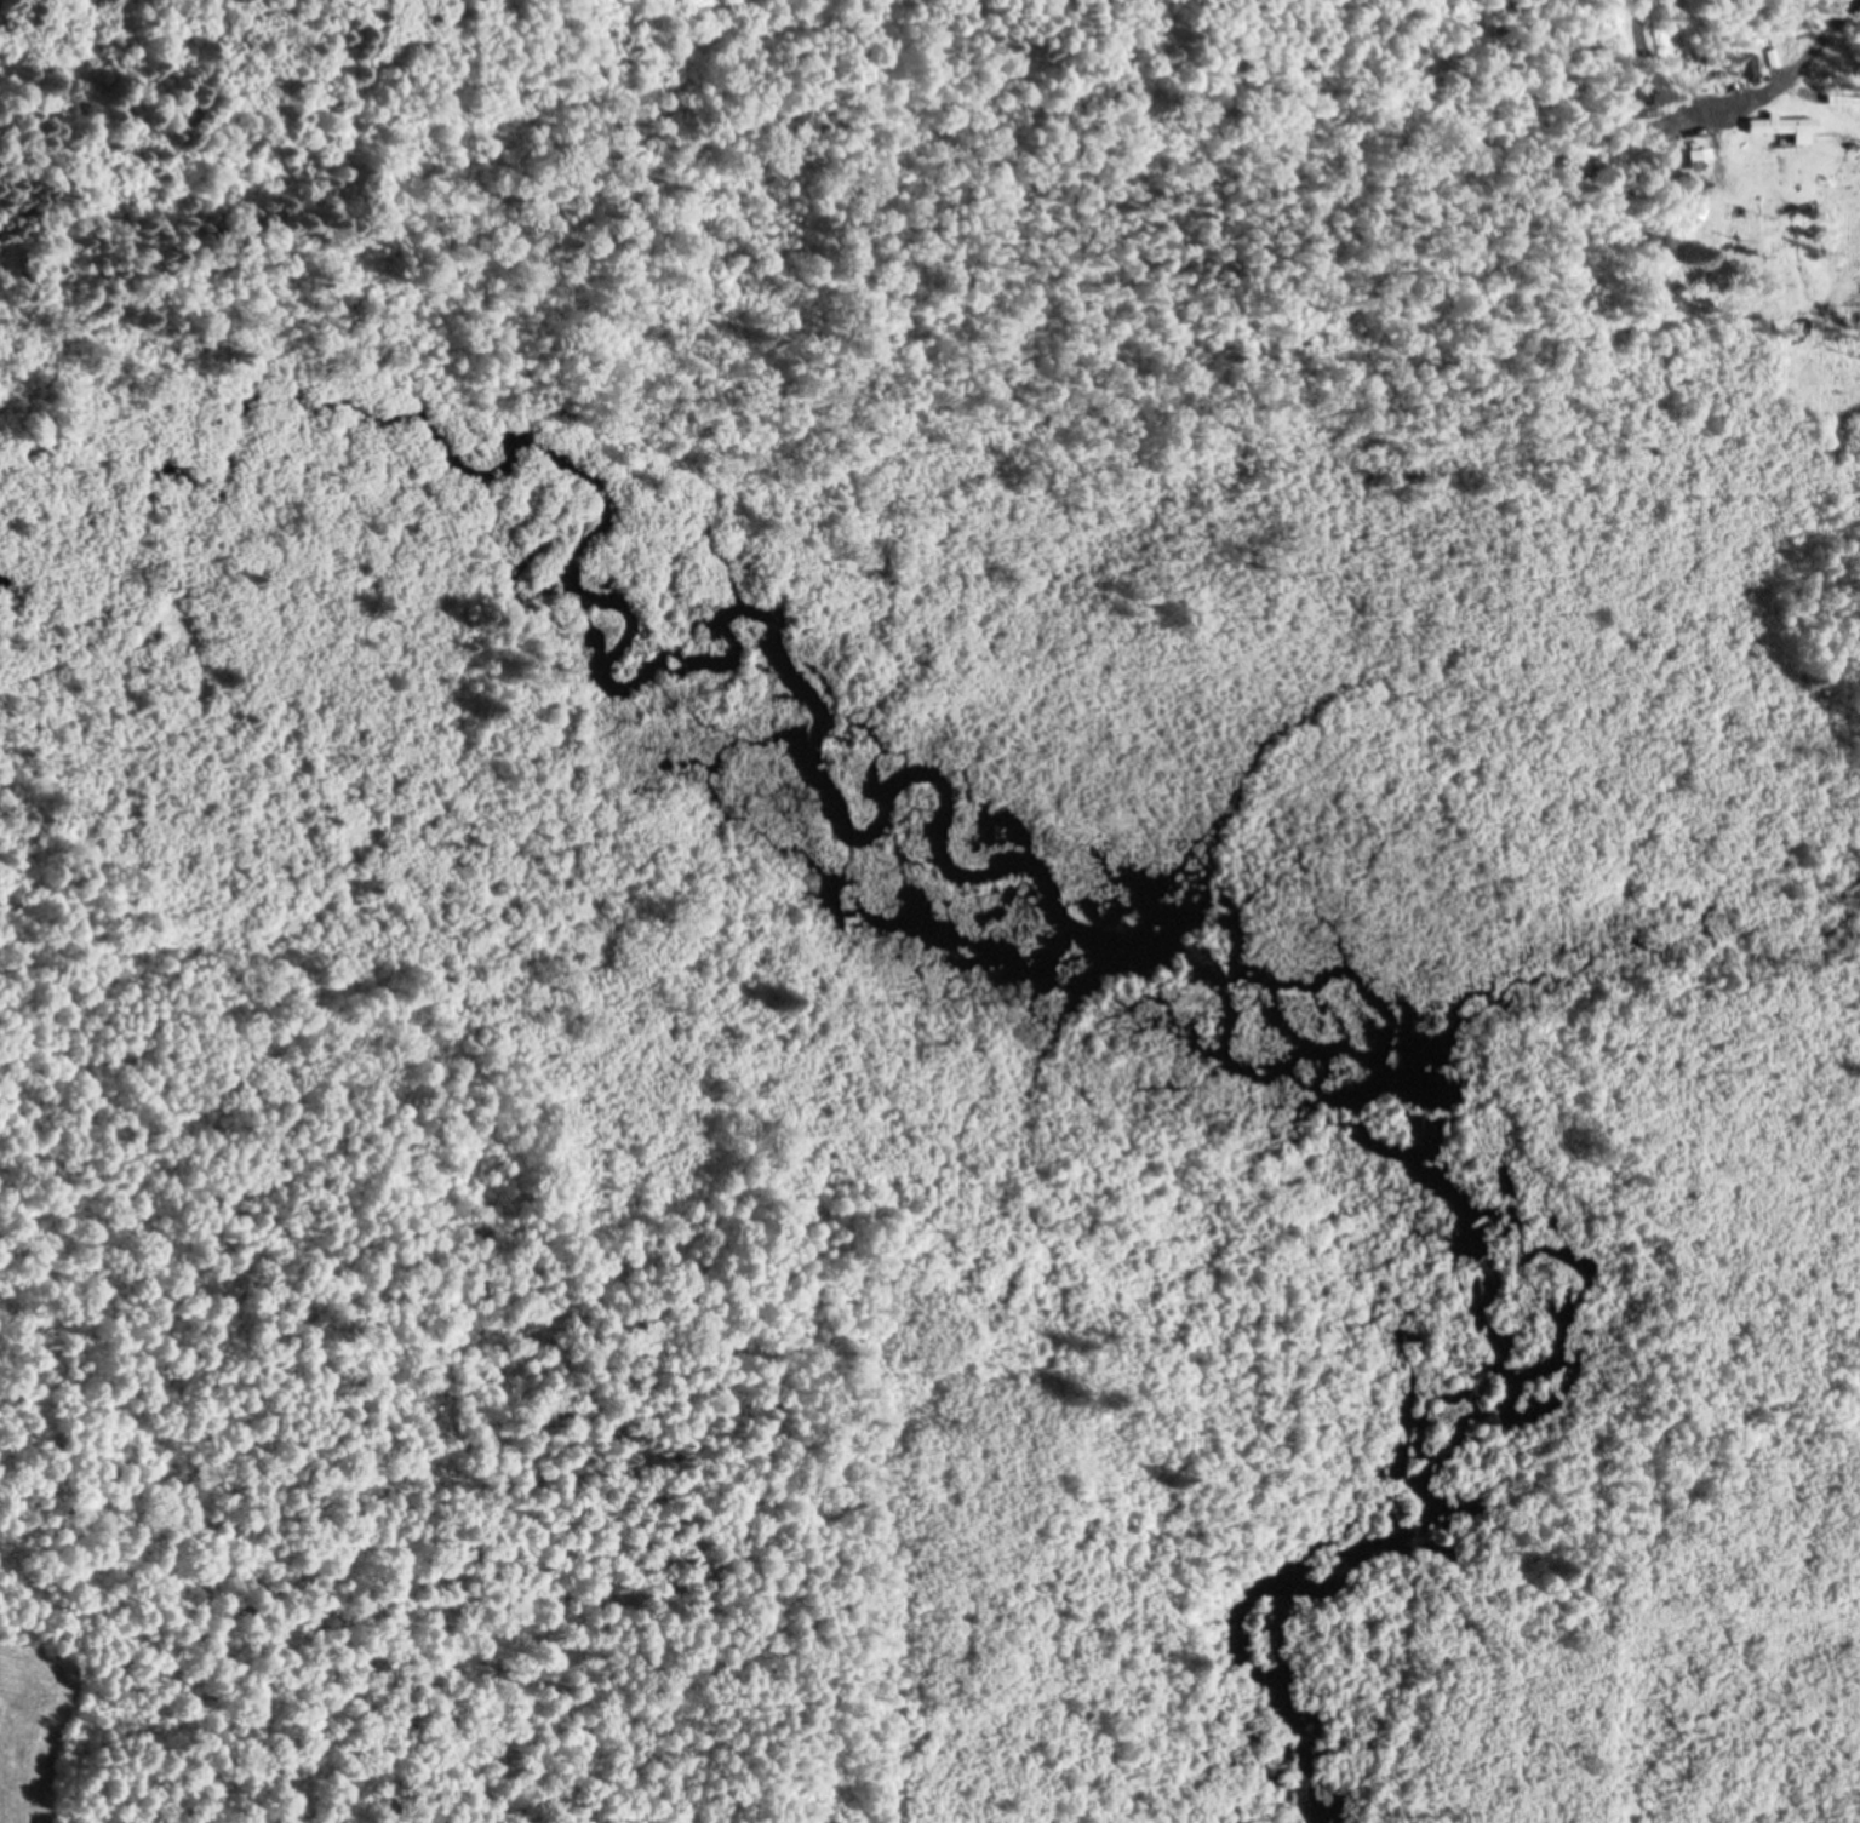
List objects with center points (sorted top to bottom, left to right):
building: (1753, 63)
building: (1790, 126)

